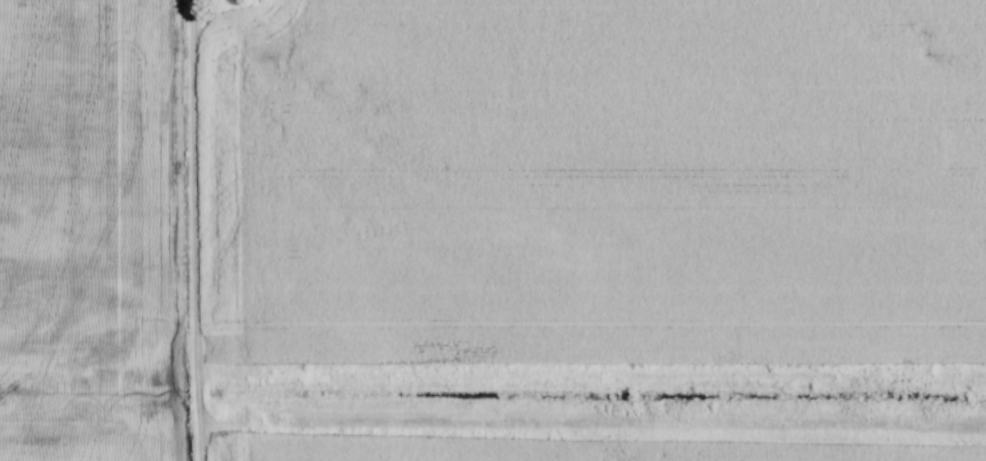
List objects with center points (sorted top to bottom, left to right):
road: (195, 267)

